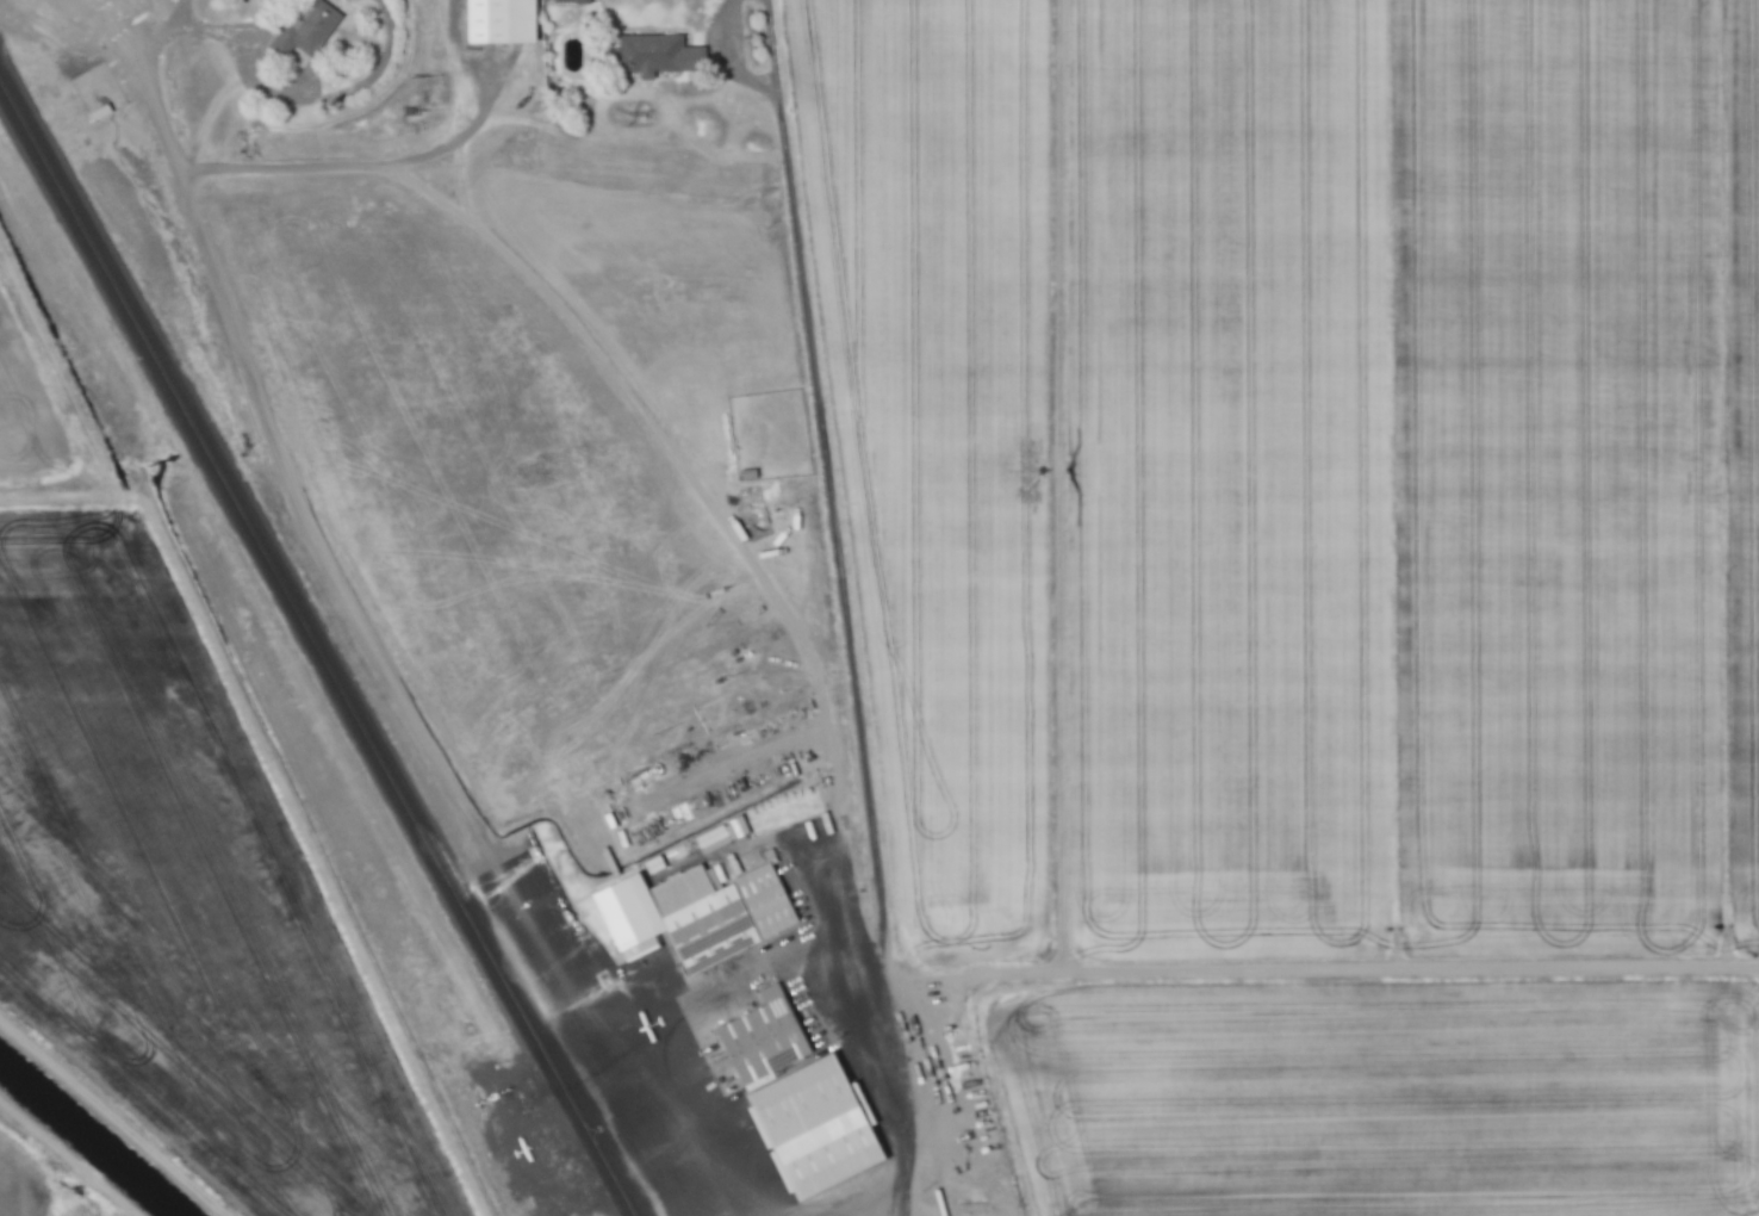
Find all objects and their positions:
building: (572, 1)
building: (499, 20)
building: (306, 27)
building: (659, 55)
airport taxiway: (374, 166)
airport taxiway: (268, 430)
road: (841, 607)
airport runway: (316, 647)
building: (721, 833)
building: (652, 863)
airport hangar: (623, 911)
building: (623, 911)
building: (722, 912)
building: (765, 1037)
airport apron: (648, 1044)
building: (820, 1125)

